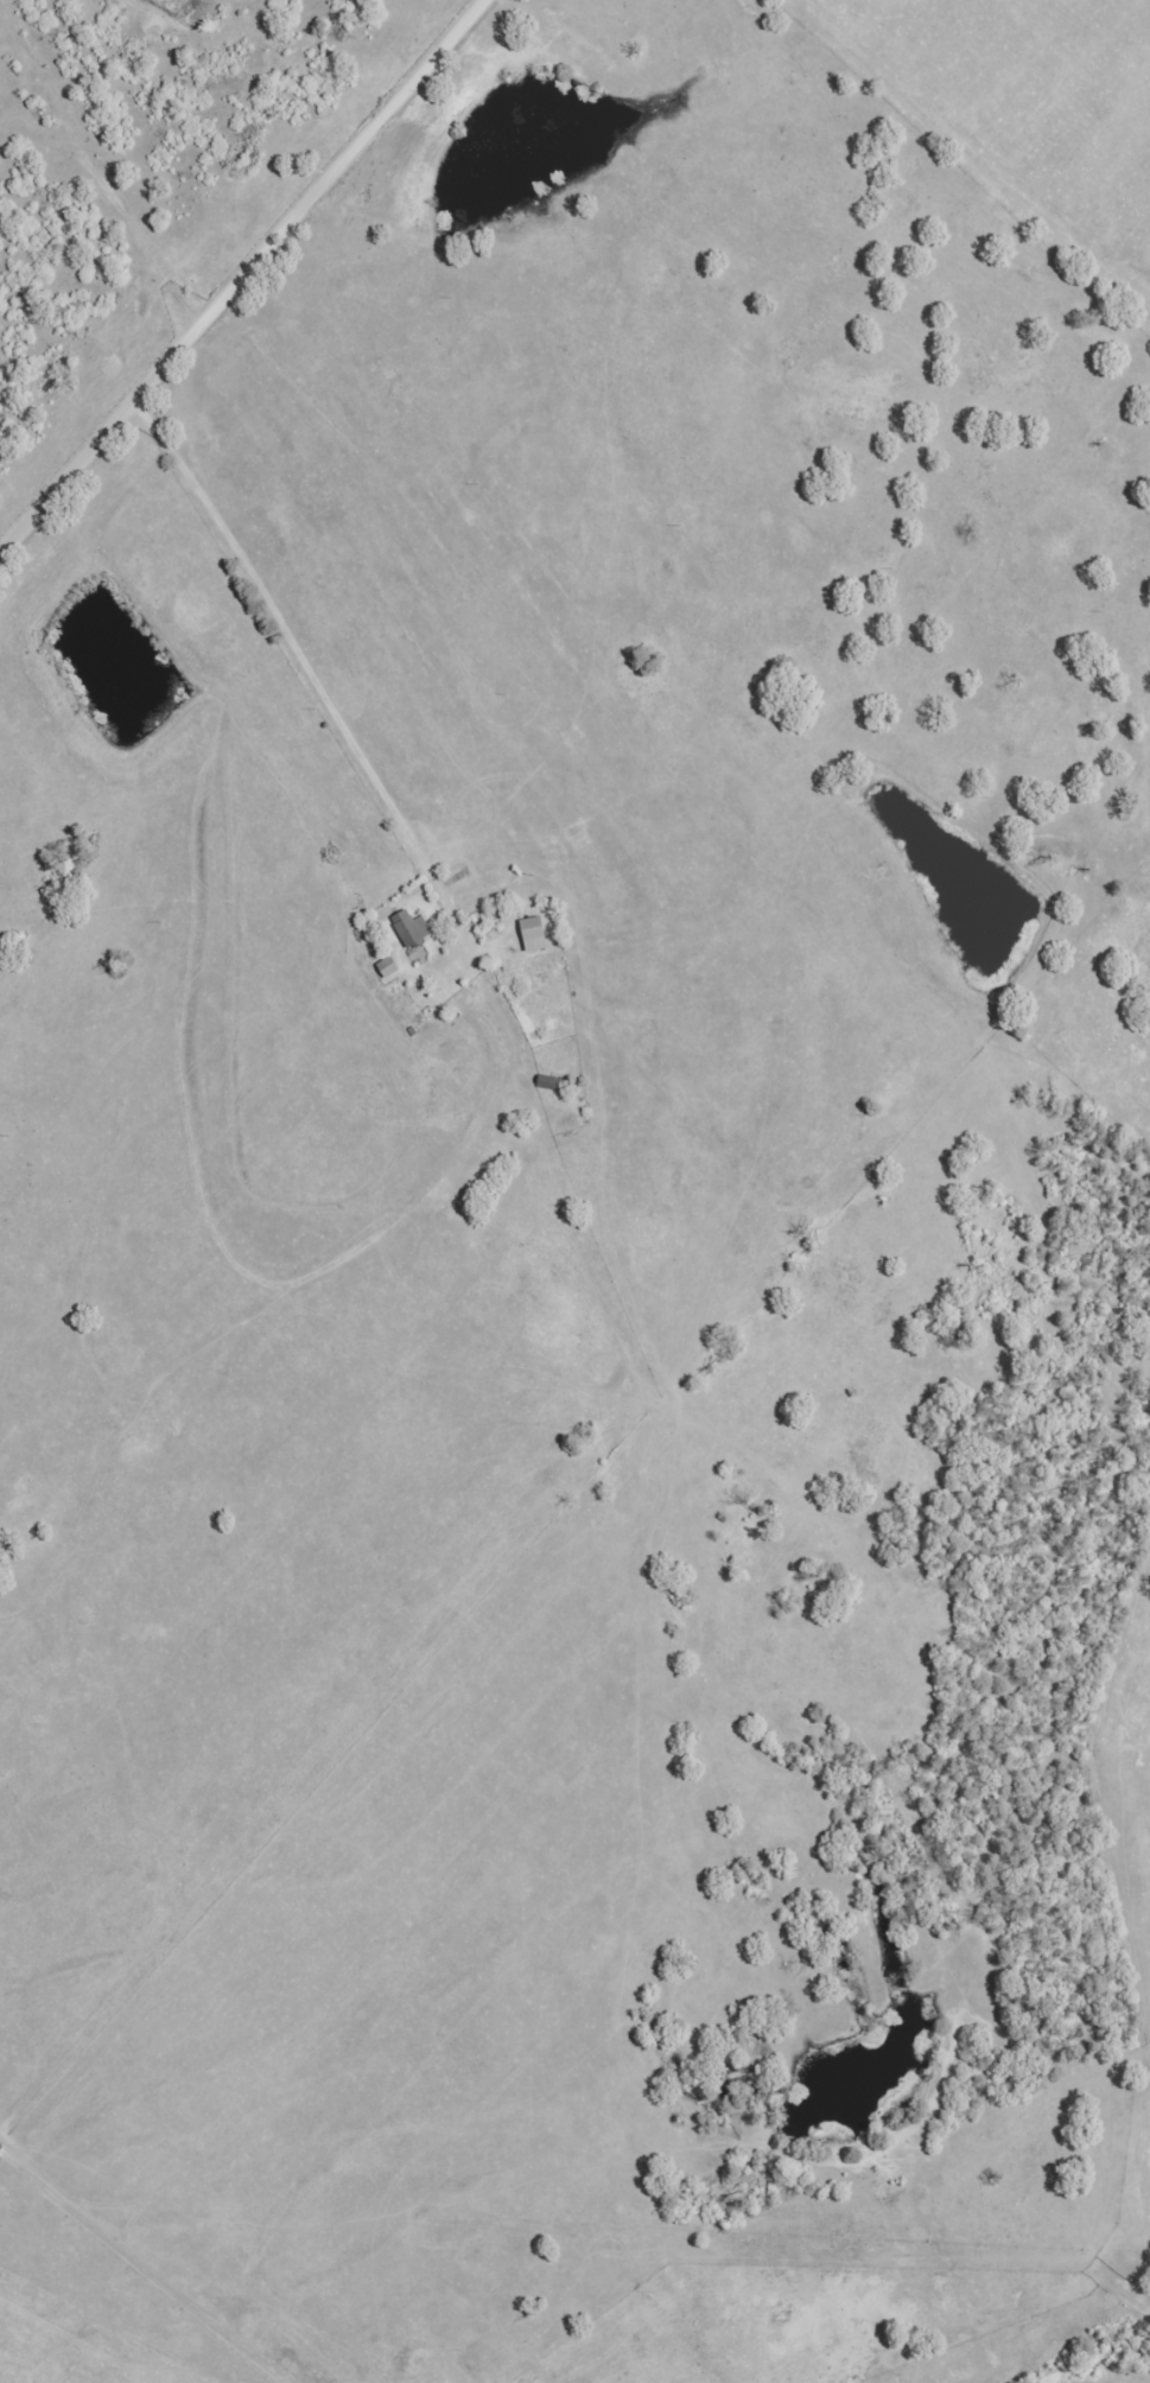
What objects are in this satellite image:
road: (239, 278)
building: (415, 930)
road: (479, 1124)
road: (574, 1258)
road: (145, 2269)

